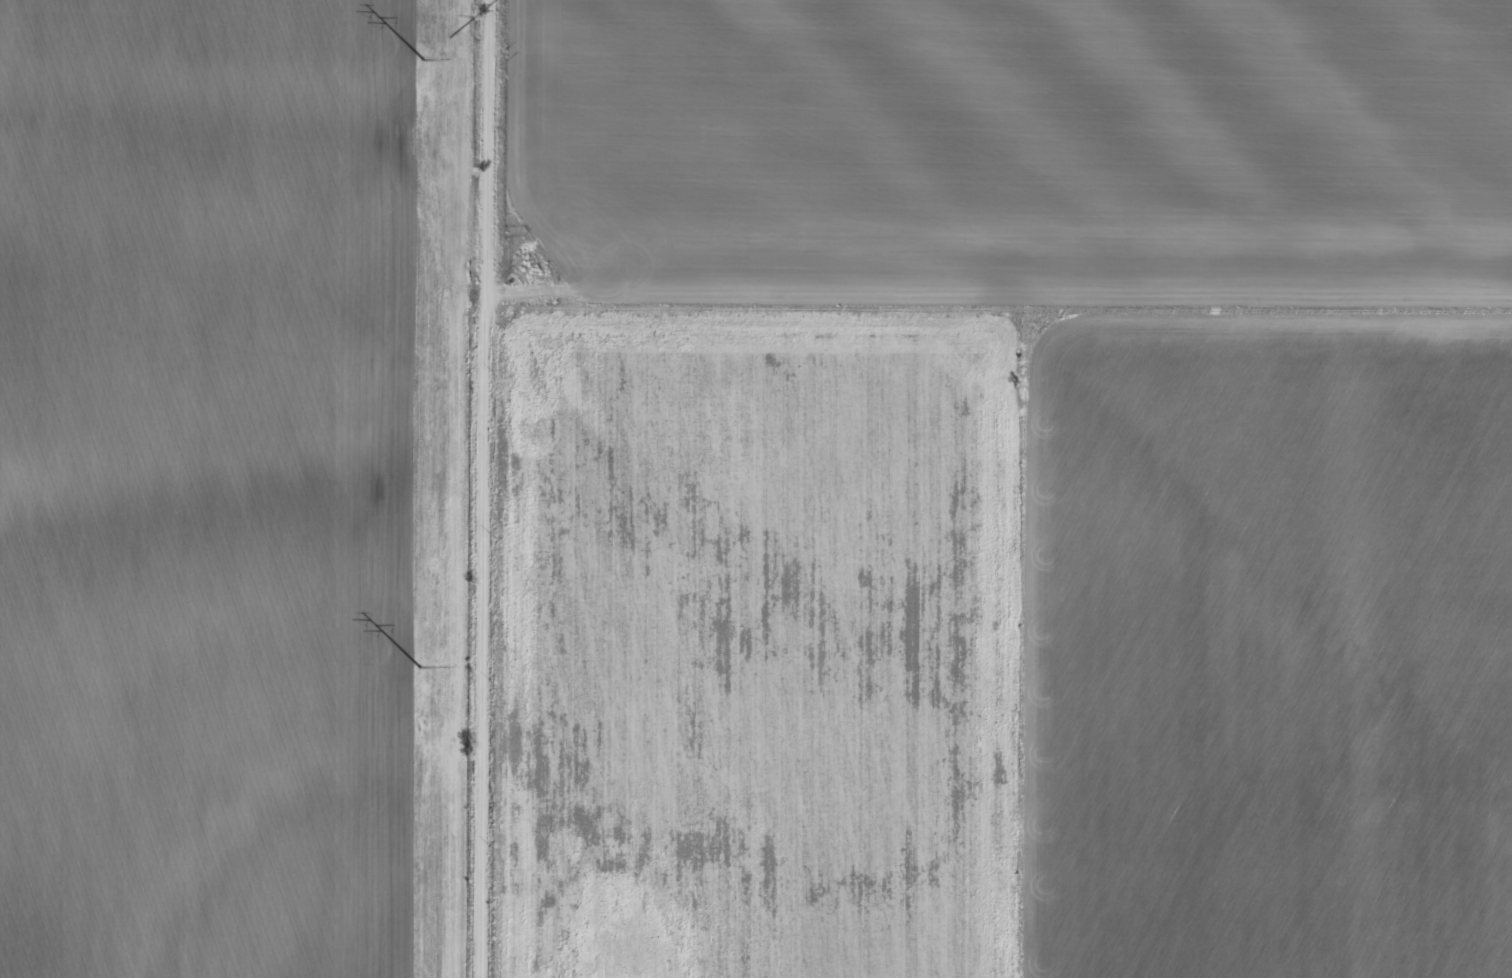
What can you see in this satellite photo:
road: (464, 489)

